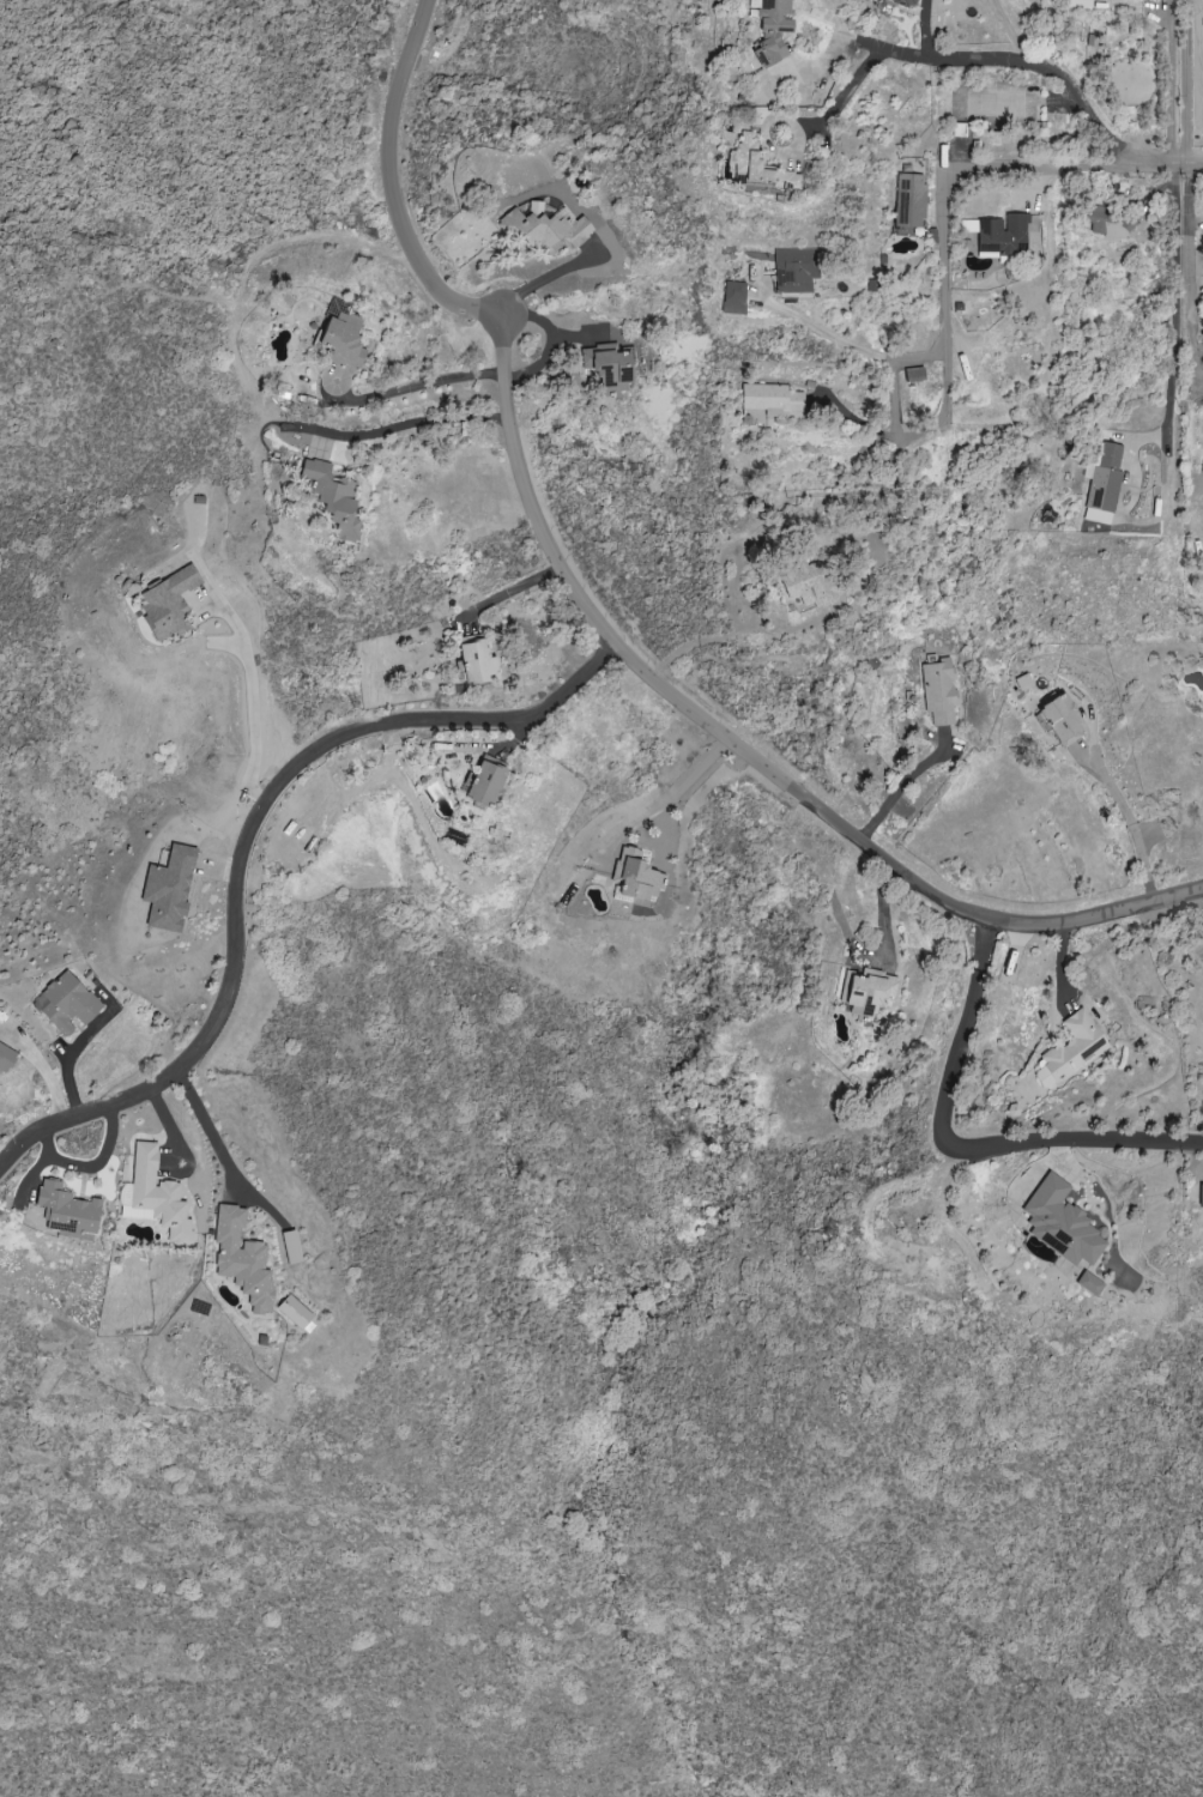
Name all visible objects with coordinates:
building: (902, 2)
building: (1077, 4)
building: (770, 29)
road: (969, 60)
road: (1173, 81)
building: (756, 165)
road: (1191, 165)
building: (908, 201)
building: (1104, 223)
building: (543, 230)
building: (999, 235)
road: (943, 238)
building: (794, 270)
road: (543, 278)
building: (733, 292)
road: (1177, 299)
building: (341, 339)
building: (607, 367)
building: (913, 374)
road: (412, 386)
road: (891, 397)
building: (769, 399)
road: (398, 425)
road: (912, 432)
building: (1202, 473)
building: (1104, 483)
building: (333, 501)
building: (806, 583)
building: (167, 605)
road: (600, 625)
building: (476, 661)
building: (938, 690)
road: (250, 691)
building: (1059, 720)
building: (485, 780)
road: (1132, 824)
road: (246, 839)
building: (635, 877)
building: (167, 889)
road: (883, 908)
road: (984, 946)
building: (866, 992)
building: (65, 1003)
building: (1071, 1049)
road: (950, 1057)
building: (5, 1058)
road: (208, 1131)
road: (1072, 1139)
road: (8, 1150)
building: (152, 1196)
building: (1201, 1196)
building: (66, 1210)
building: (1060, 1223)
building: (290, 1247)
building: (241, 1258)
building: (1088, 1283)

